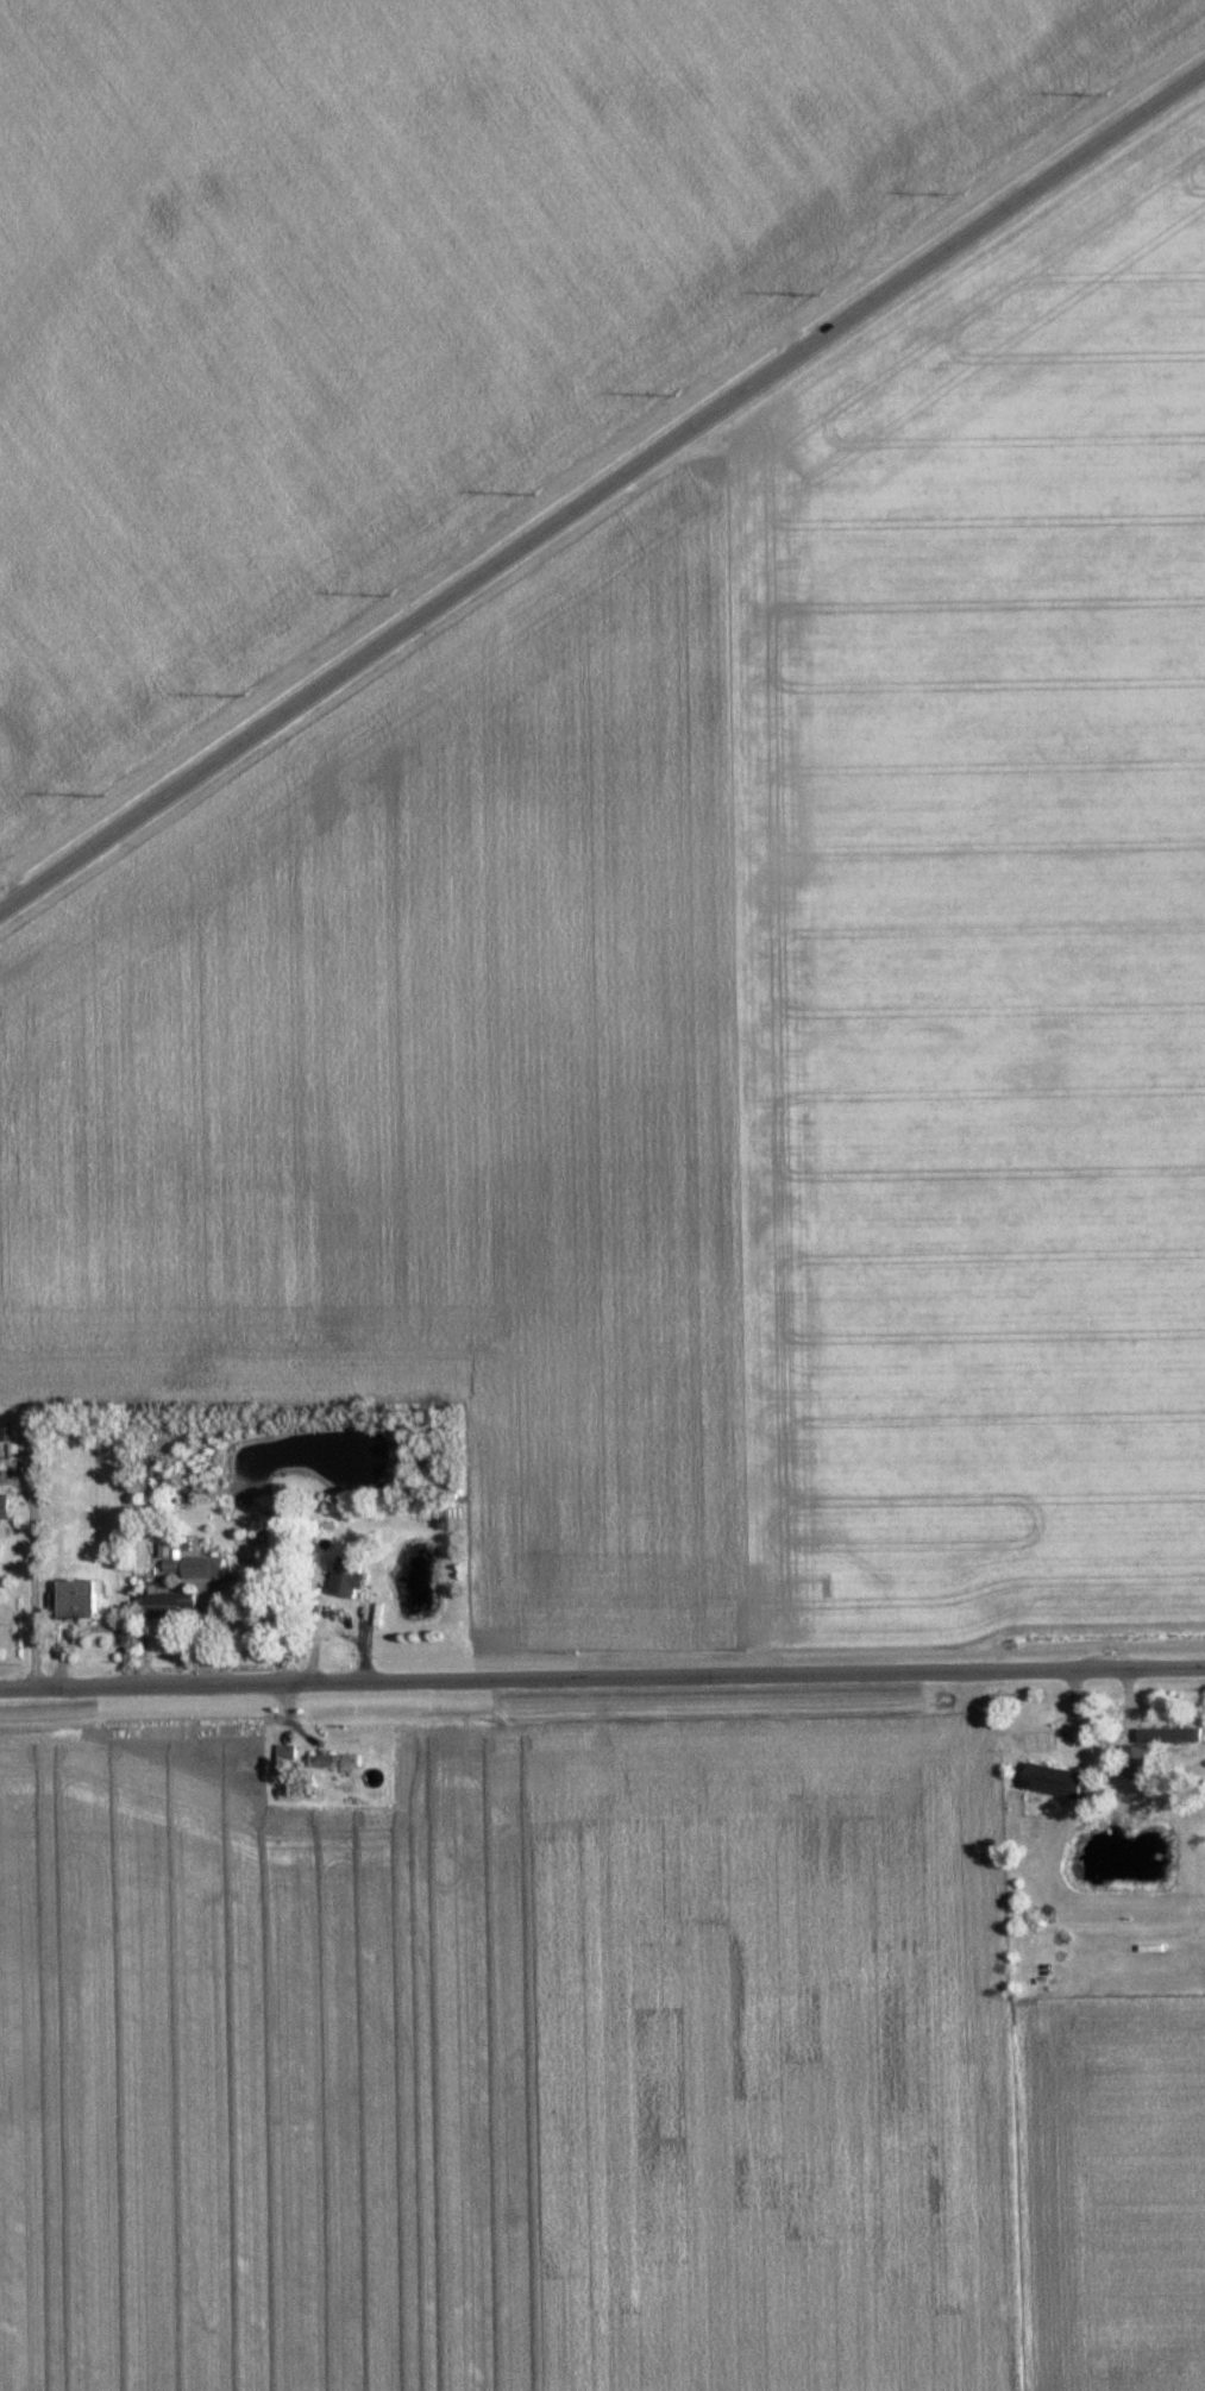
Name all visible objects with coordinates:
crop: (409, 291)
road: (601, 490)
crop: (717, 1011)
building: (0, 1511)
building: (340, 1577)
road: (24, 1589)
building: (71, 1599)
building: (159, 1604)
road: (602, 1678)
building: (1153, 1744)
building: (281, 1757)
building: (328, 1762)
building: (1044, 1781)
crop: (512, 2066)
crop: (1109, 2191)

